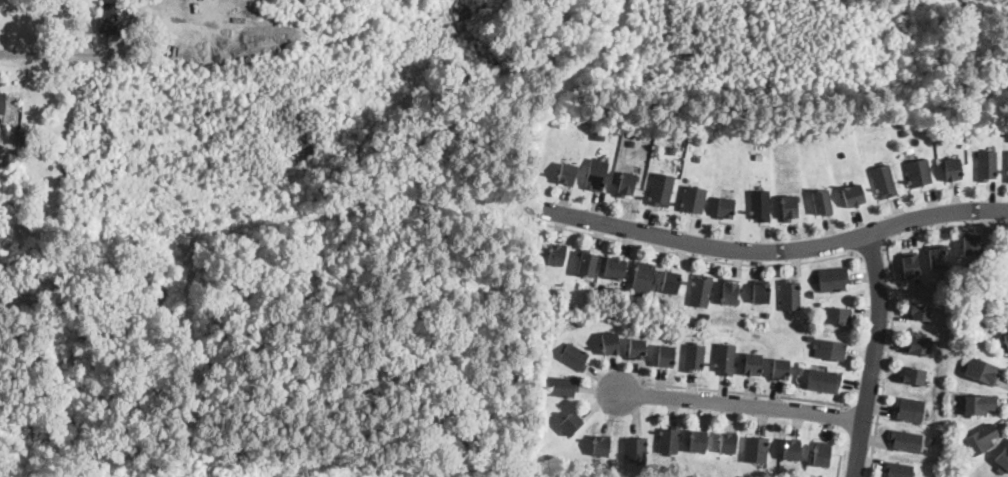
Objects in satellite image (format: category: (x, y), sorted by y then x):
building: (108, 18)
building: (124, 24)
road: (37, 55)
building: (2, 102)
building: (903, 132)
building: (599, 134)
building: (631, 141)
building: (672, 149)
building: (986, 165)
building: (950, 169)
building: (1007, 171)
building: (918, 172)
building: (569, 174)
building: (598, 174)
building: (883, 181)
building: (629, 184)
building: (660, 189)
building: (851, 195)
building: (691, 199)
building: (818, 202)
building: (759, 205)
building: (722, 207)
building: (786, 207)
building: (968, 244)
road: (776, 250)
road: (871, 250)
building: (557, 254)
road: (699, 256)
building: (934, 258)
building: (589, 264)
building: (907, 265)
building: (619, 268)
building: (646, 277)
building: (835, 279)
building: (918, 280)
building: (675, 282)
building: (704, 290)
building: (616, 291)
building: (811, 292)
building: (733, 293)
building: (765, 293)
building: (792, 295)
road: (891, 296)
building: (921, 311)
building: (706, 314)
building: (841, 316)
building: (811, 317)
building: (810, 336)
building: (1006, 338)
building: (613, 343)
building: (923, 347)
building: (640, 348)
building: (832, 348)
building: (670, 355)
road: (870, 355)
building: (574, 356)
building: (697, 356)
building: (728, 358)
building: (757, 364)
building: (784, 368)
building: (980, 368)
building: (799, 369)
building: (918, 376)
building: (827, 380)
building: (560, 386)
road: (738, 390)
road: (739, 403)
road: (864, 403)
building: (978, 403)
building: (912, 409)
building: (571, 423)
building: (981, 437)
building: (672, 439)
building: (909, 440)
building: (703, 441)
building: (733, 443)
building: (602, 445)
building: (637, 449)
building: (760, 449)
building: (797, 449)
building: (827, 455)
building: (1004, 458)
building: (901, 469)

